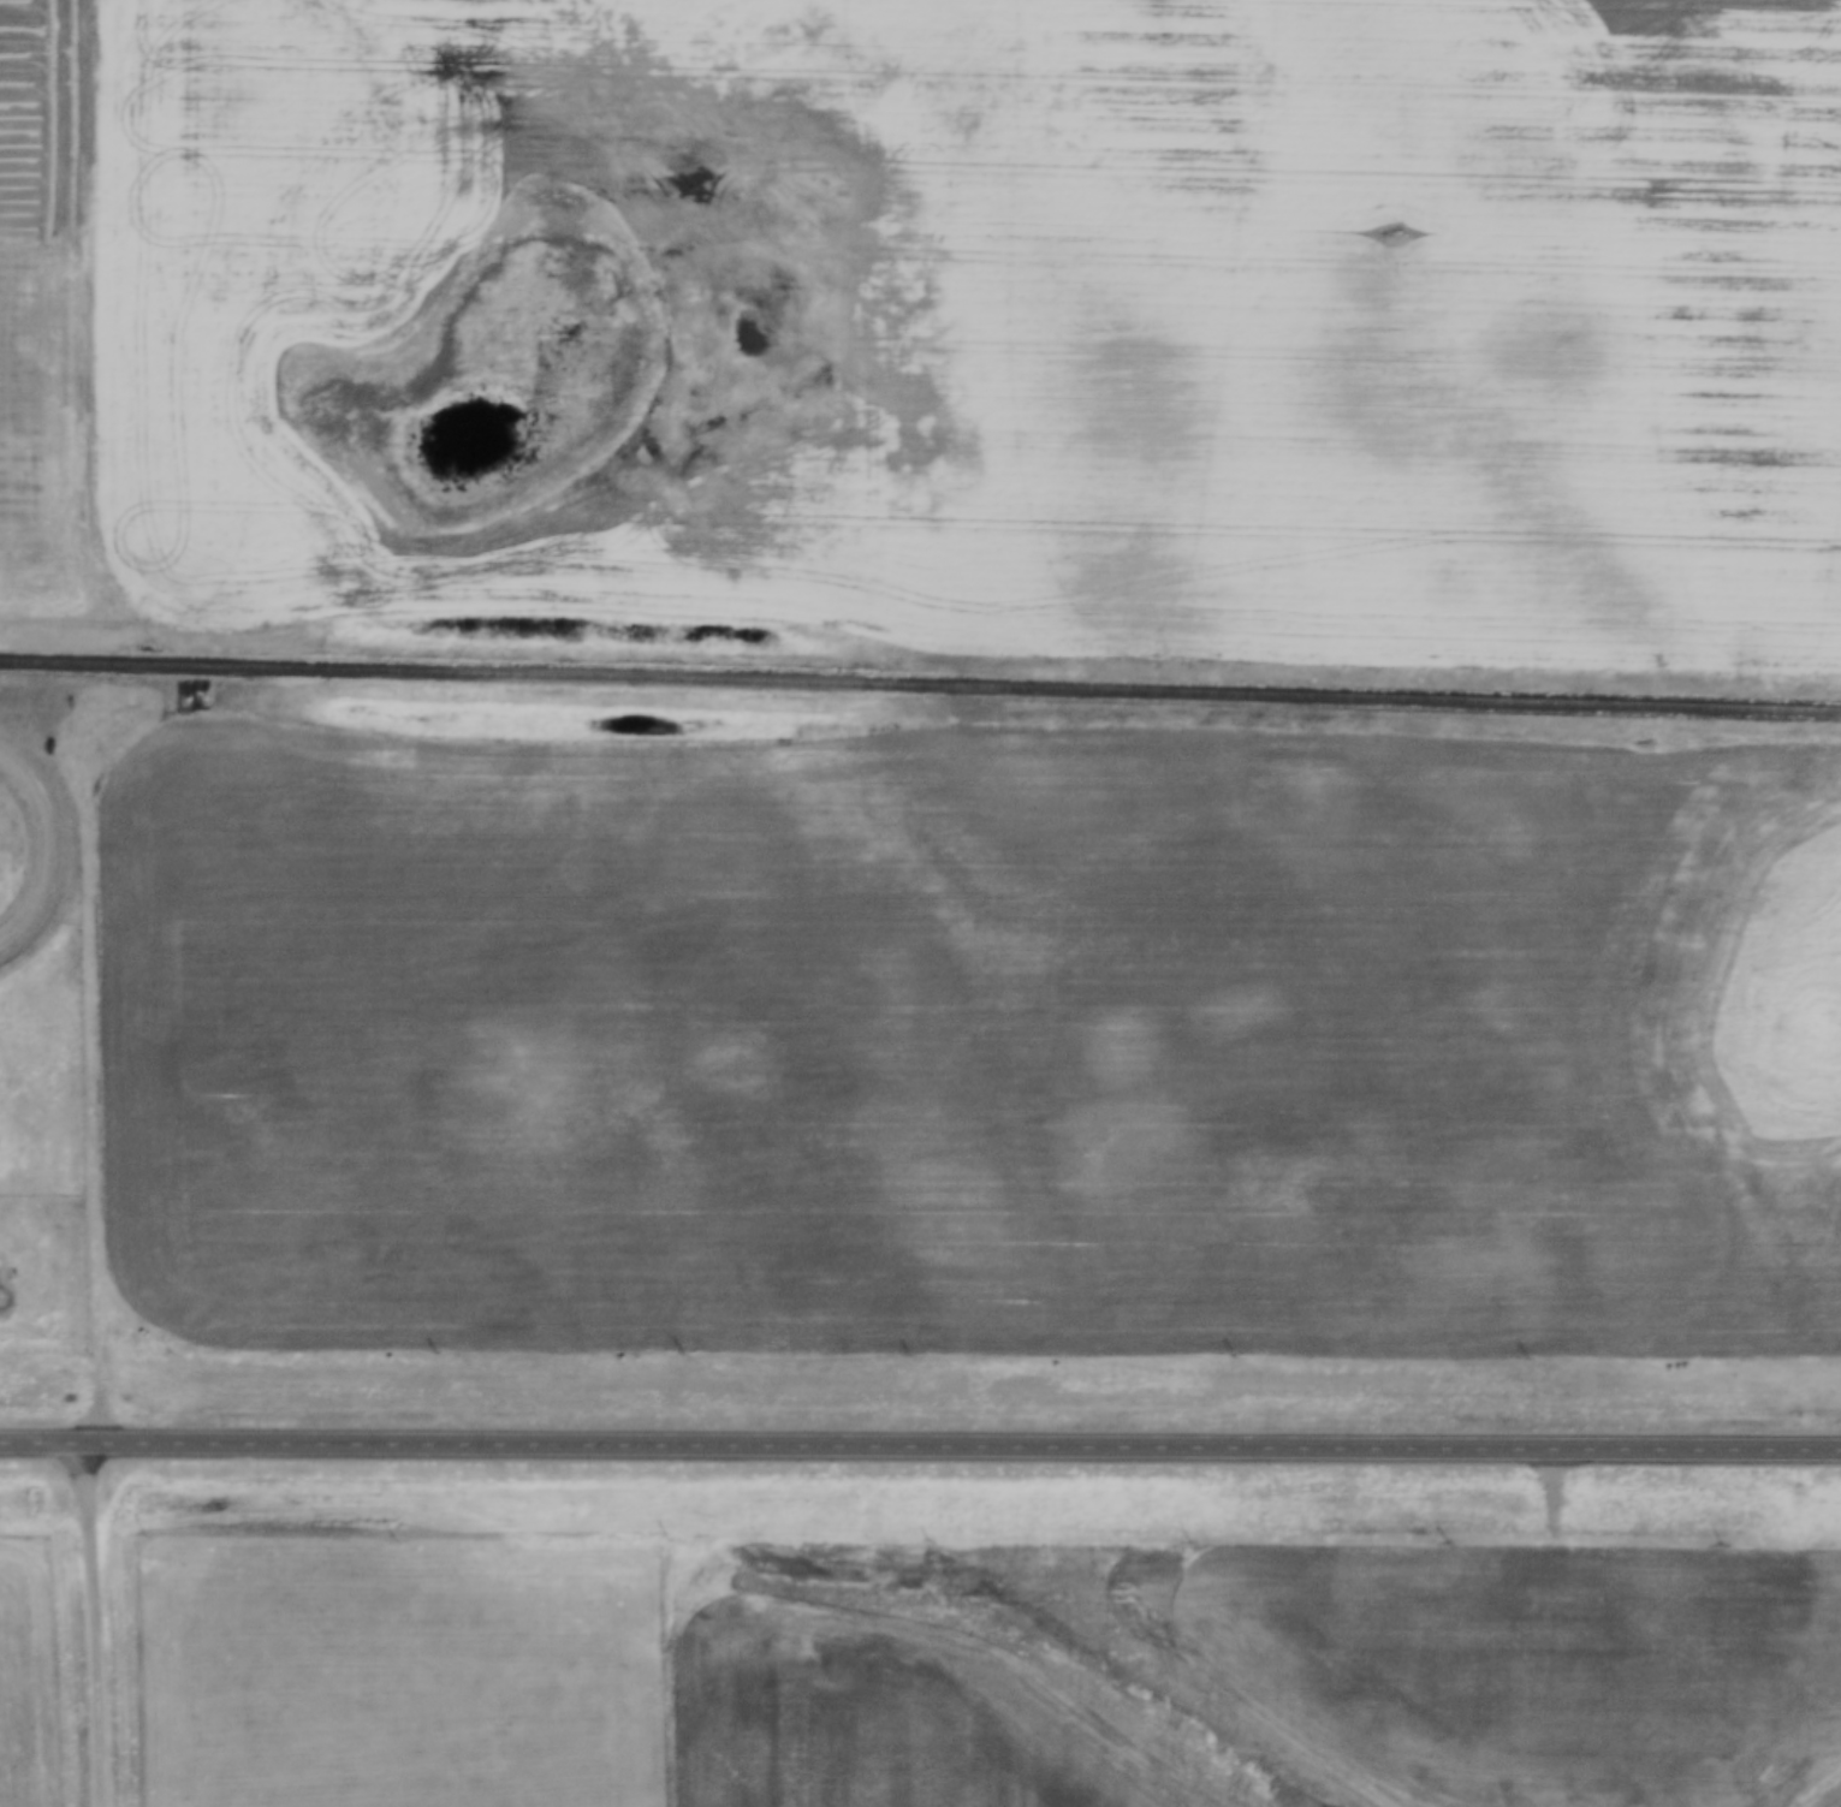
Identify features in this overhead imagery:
railway: (920, 689)
raceway: (51, 852)
road: (920, 1449)
road: (100, 1625)

